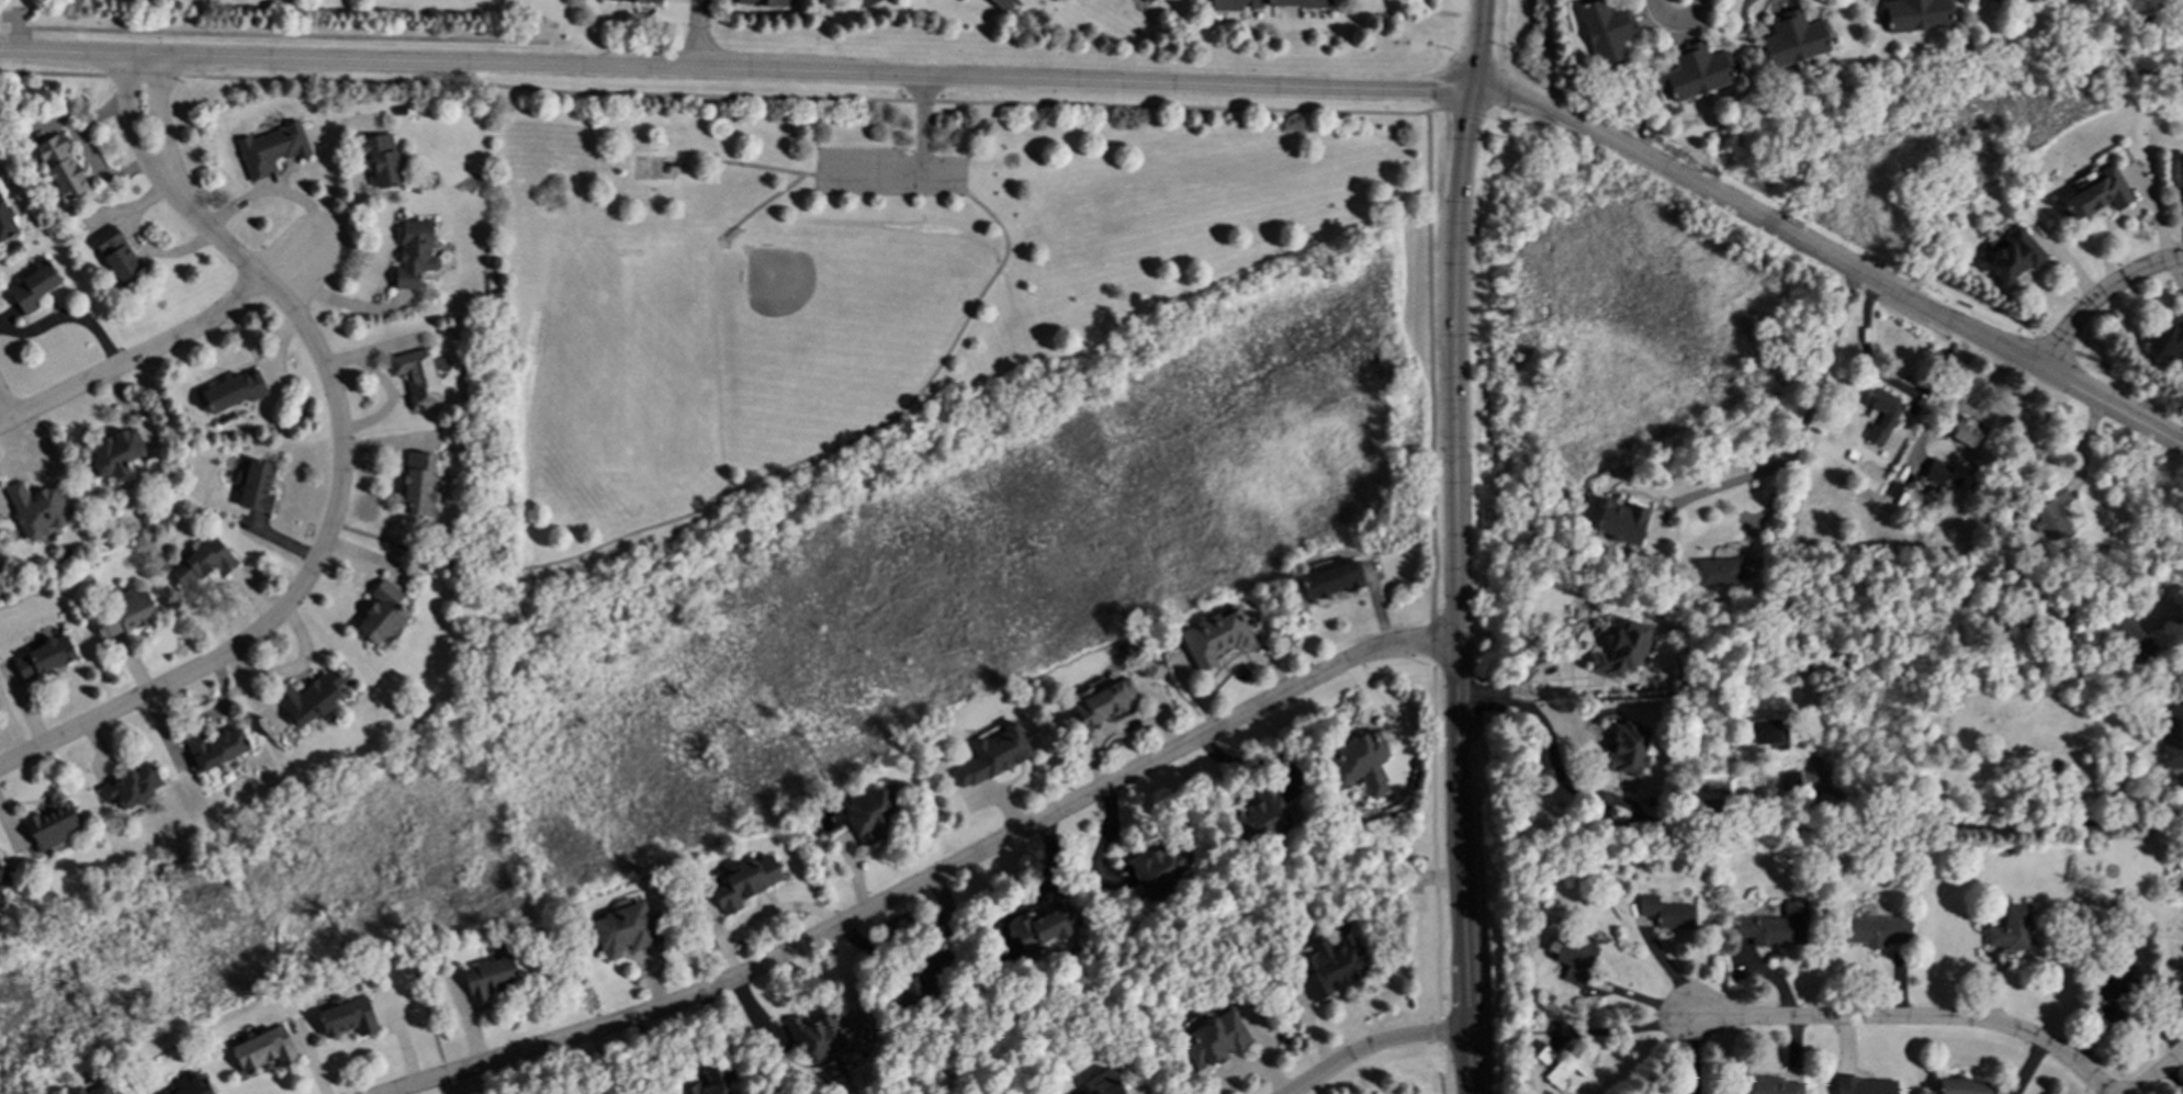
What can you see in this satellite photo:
building: (1993, 0)
building: (639, 1)
building: (1144, 1)
building: (763, 2)
building: (864, 2)
building: (1001, 3)
building: (1264, 3)
building: (1915, 14)
road: (1679, 20)
building: (1606, 30)
road: (698, 34)
road: (1524, 34)
building: (1793, 38)
building: (1696, 71)
road: (1136, 83)
road: (1499, 84)
road: (721, 98)
road: (1463, 111)
road: (160, 115)
road: (1494, 117)
road: (132, 120)
road: (923, 125)
building: (270, 149)
building: (380, 159)
building: (60, 167)
road: (767, 169)
road: (893, 174)
parking lot: (888, 176)
building: (2096, 194)
road: (765, 206)
building: (5, 223)
road: (1837, 248)
building: (414, 253)
building: (117, 256)
building: (2014, 256)
road: (2175, 274)
park: (777, 280)
building: (33, 285)
road: (2098, 295)
building: (2165, 341)
road: (166, 345)
park: (624, 368)
building: (417, 376)
building: (233, 391)
road: (4, 408)
building: (1881, 415)
road: (1804, 425)
park: (983, 431)
building: (1966, 432)
building: (116, 455)
building: (1937, 472)
road: (757, 483)
building: (420, 485)
building: (257, 486)
building: (36, 509)
building: (2052, 514)
building: (1621, 521)
road: (329, 529)
road: (1456, 545)
building: (203, 562)
building: (1719, 572)
building: (1330, 580)
road: (1432, 602)
building: (127, 613)
building: (382, 613)
building: (1214, 636)
building: (2127, 636)
building: (1621, 651)
building: (44, 657)
building: (310, 698)
building: (1106, 703)
building: (1768, 732)
building: (216, 747)
building: (1623, 748)
building: (993, 755)
building: (1360, 763)
building: (1792, 780)
building: (131, 787)
building: (867, 815)
building: (50, 826)
road: (1786, 831)
building: (1161, 867)
building: (1, 875)
road: (929, 879)
building: (743, 882)
building: (1667, 912)
road: (1482, 923)
building: (1043, 927)
building: (1777, 927)
building: (2011, 928)
building: (623, 931)
building: (1877, 931)
road: (908, 932)
building: (1572, 955)
building: (1329, 965)
building: (488, 978)
building: (2126, 979)
building: (347, 1016)
road: (1913, 1018)
building: (818, 1034)
building: (1213, 1039)
road: (1375, 1045)
building: (263, 1048)
building: (1541, 1050)
building: (1567, 1068)
road: (2157, 1074)
building: (710, 1082)
building: (1101, 1083)
building: (1770, 1085)
building: (1866, 1085)
building: (1961, 1086)
building: (191, 1087)
building: (99, 1090)
building: (75, 1091)

